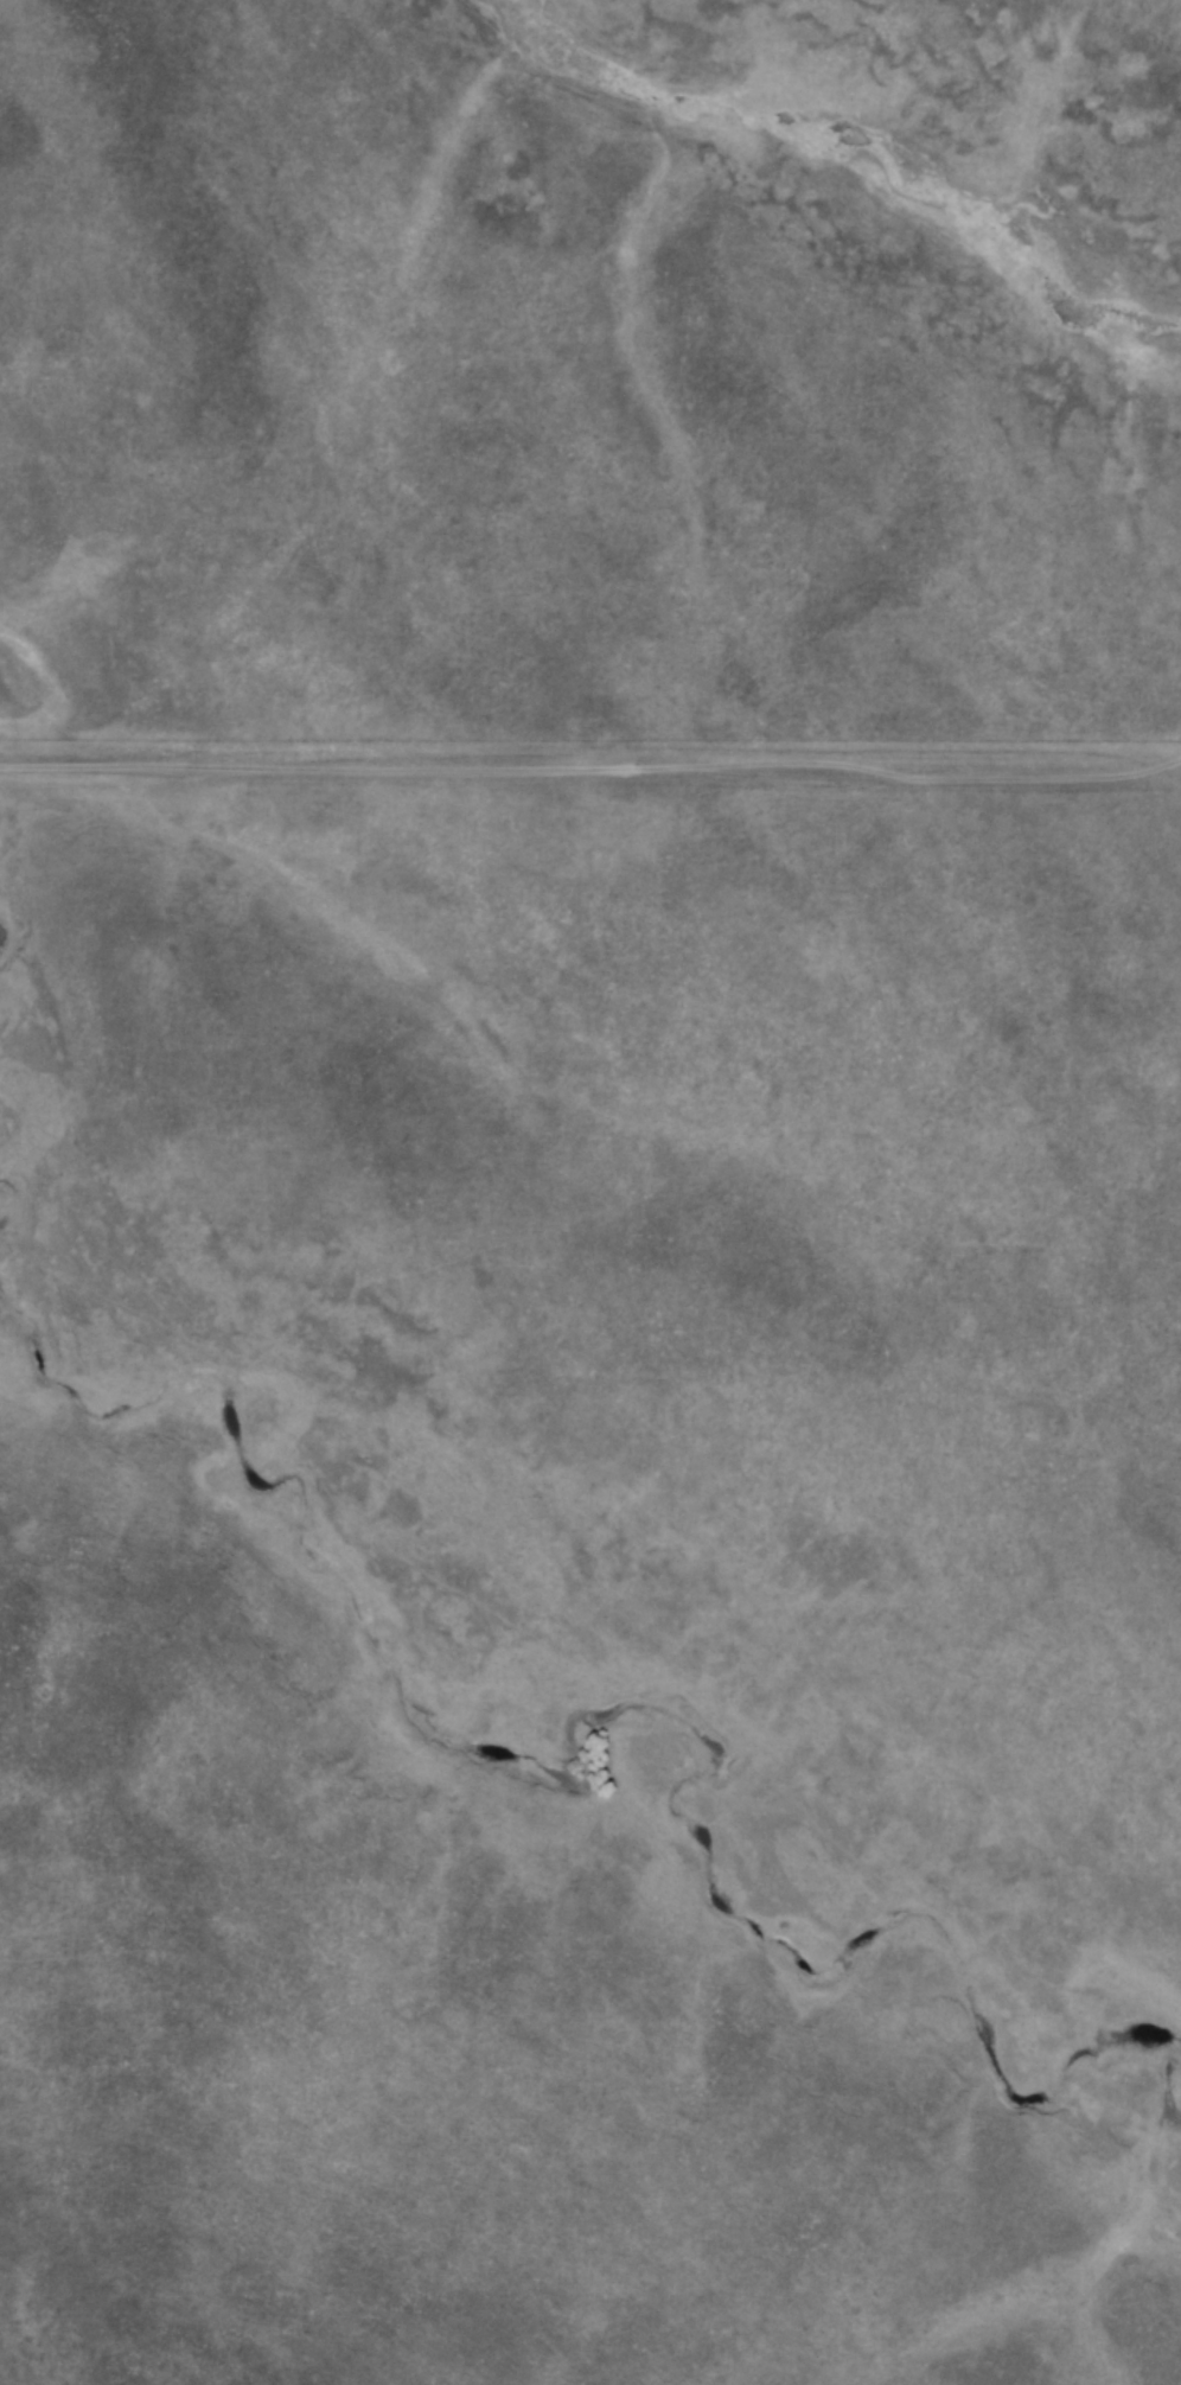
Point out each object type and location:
road: (590, 809)

